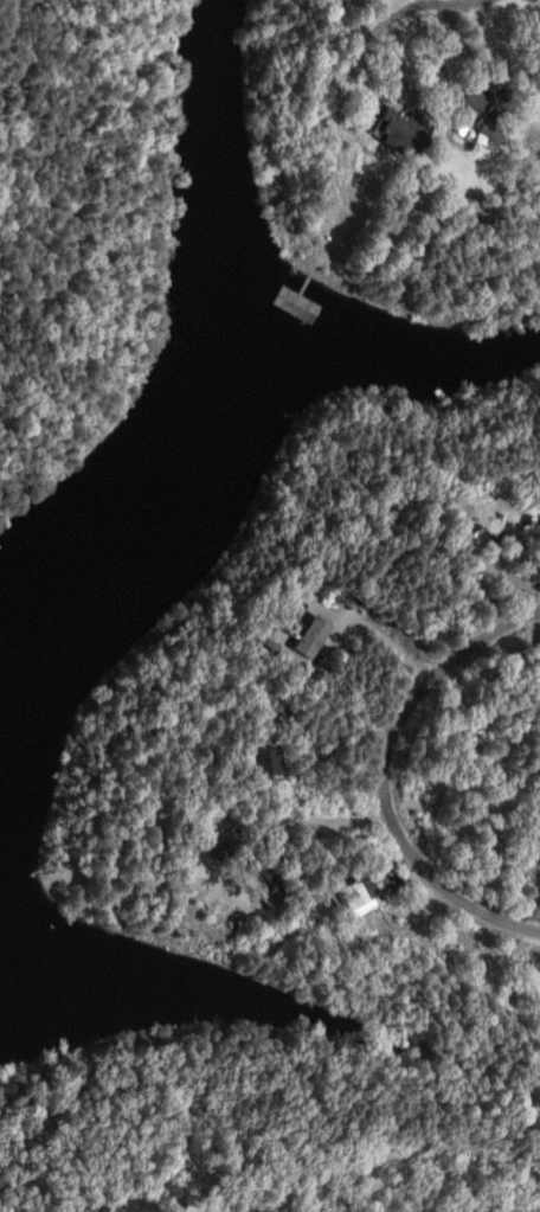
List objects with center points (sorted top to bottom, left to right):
road: (337, 65)
building: (482, 114)
building: (403, 132)
road: (368, 623)
building: (311, 636)
building: (272, 701)
building: (268, 761)
road: (381, 770)
road: (297, 807)
building: (353, 897)

